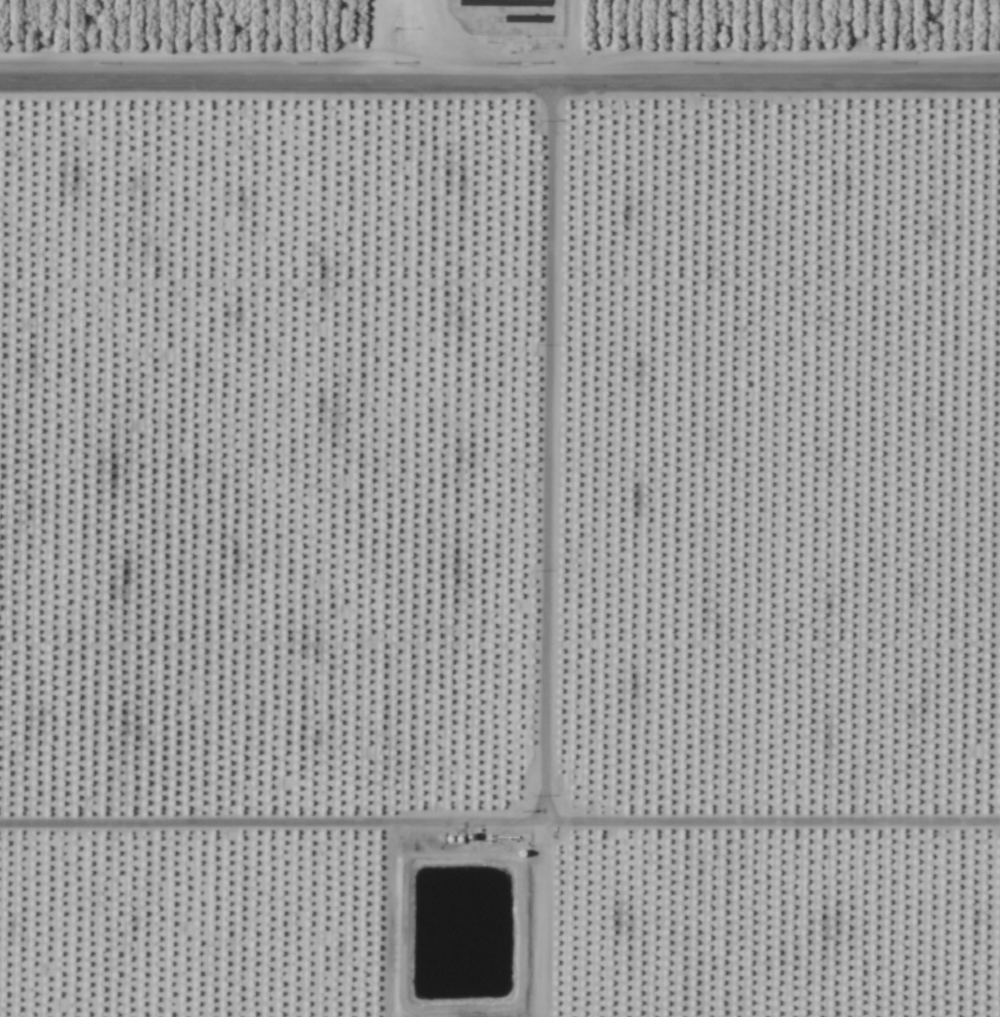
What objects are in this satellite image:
building: (412, 27)
road: (847, 41)
road: (499, 83)
crop: (500, 508)

